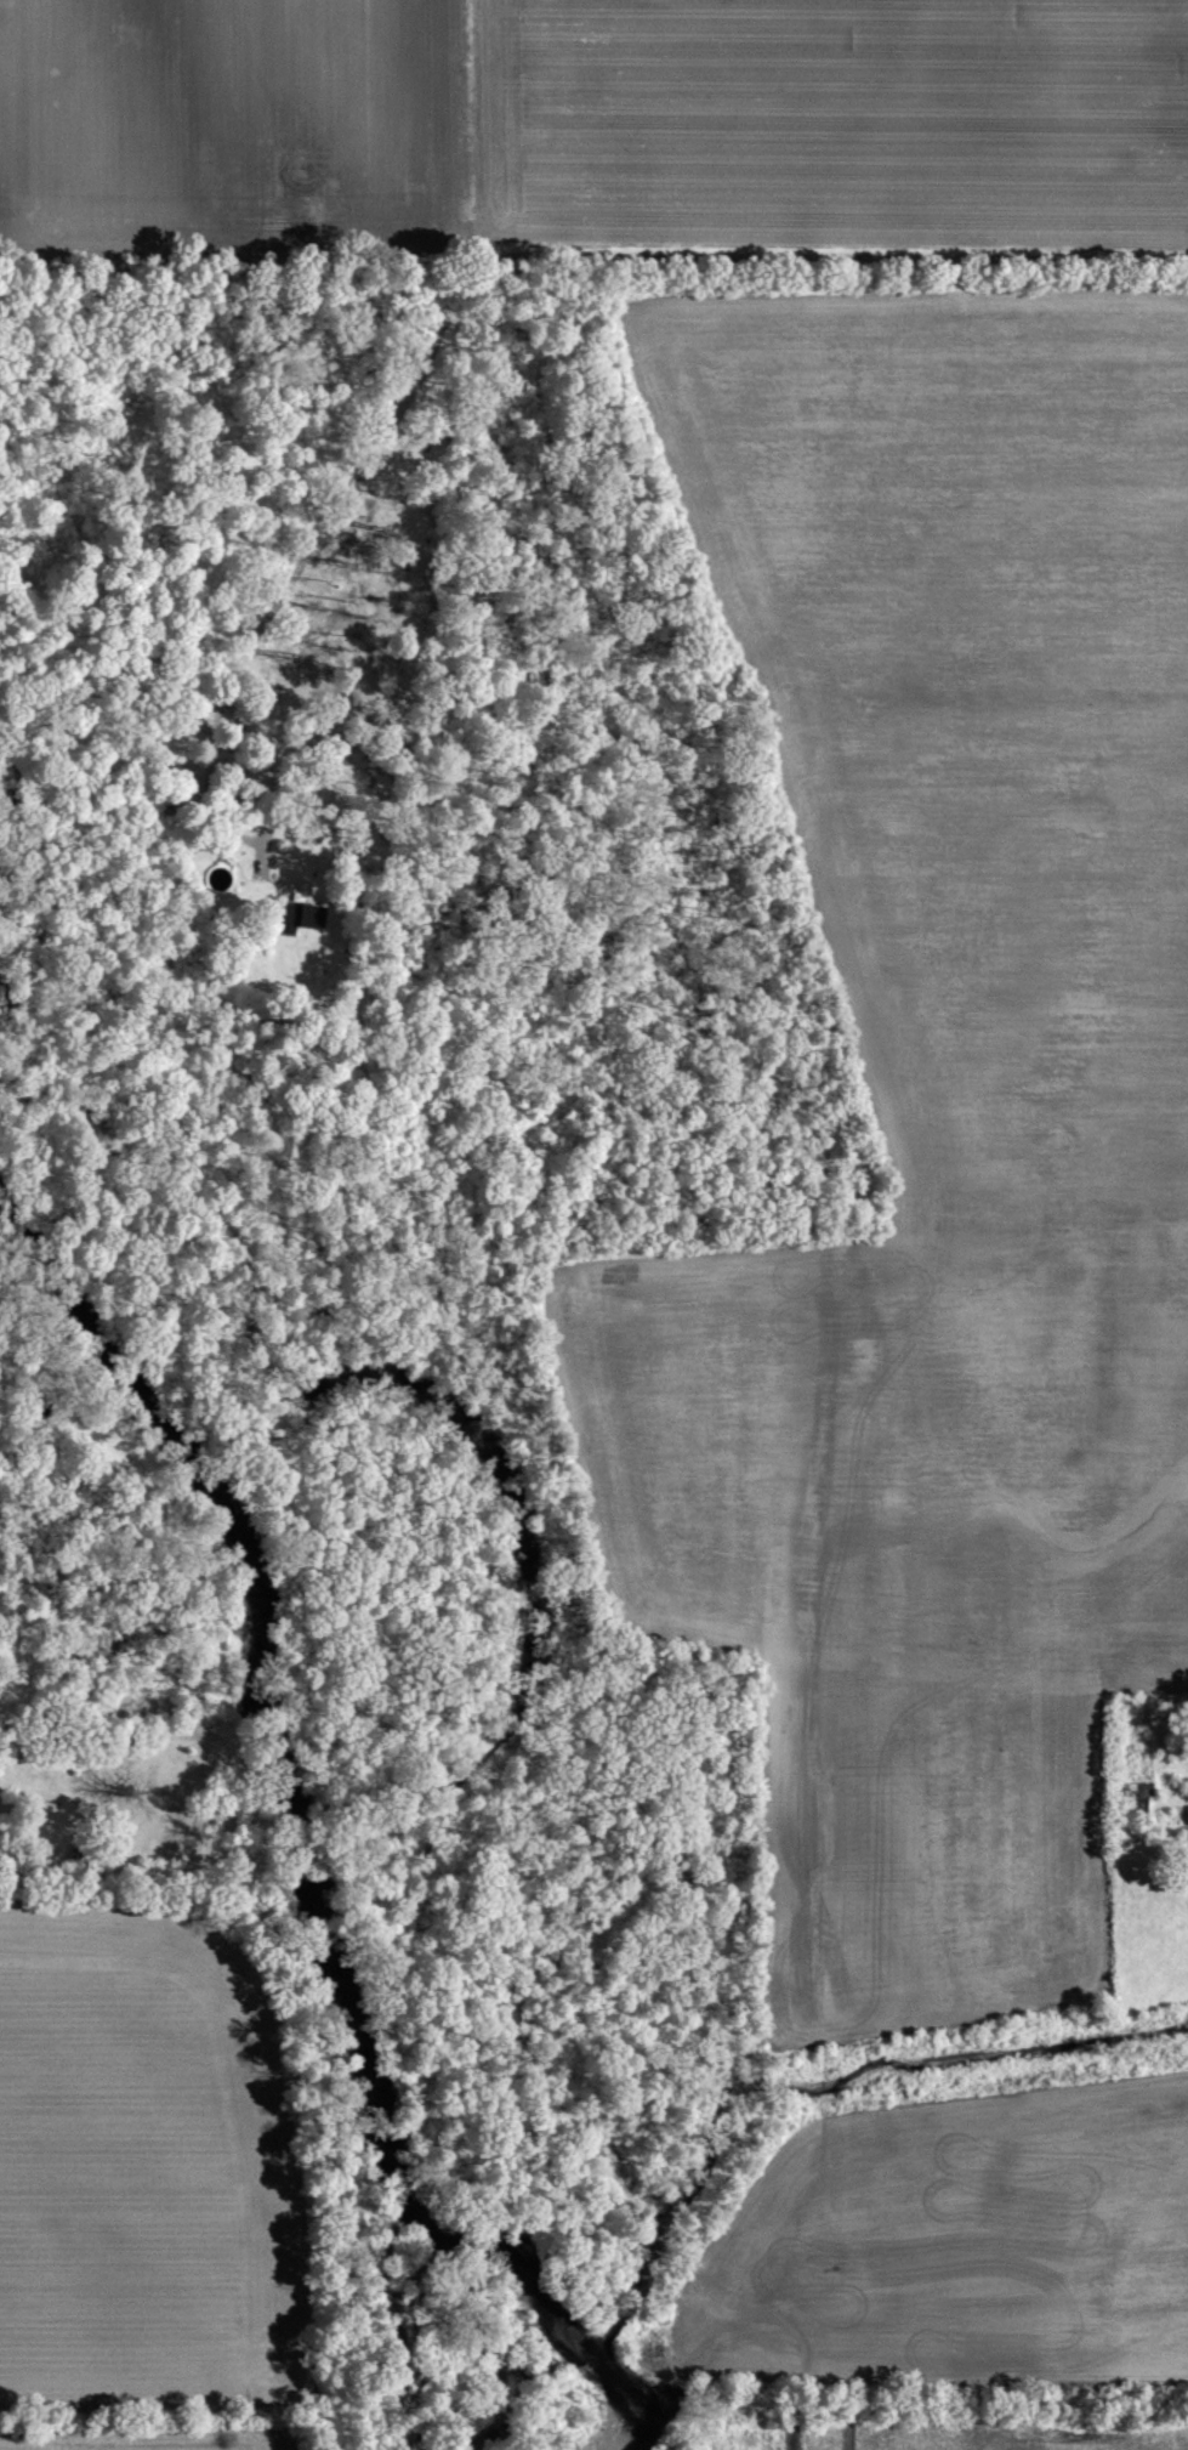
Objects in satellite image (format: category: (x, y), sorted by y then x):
road: (578, 253)
road: (251, 835)
building: (297, 915)
building: (1137, 1790)
building: (80, 1855)

